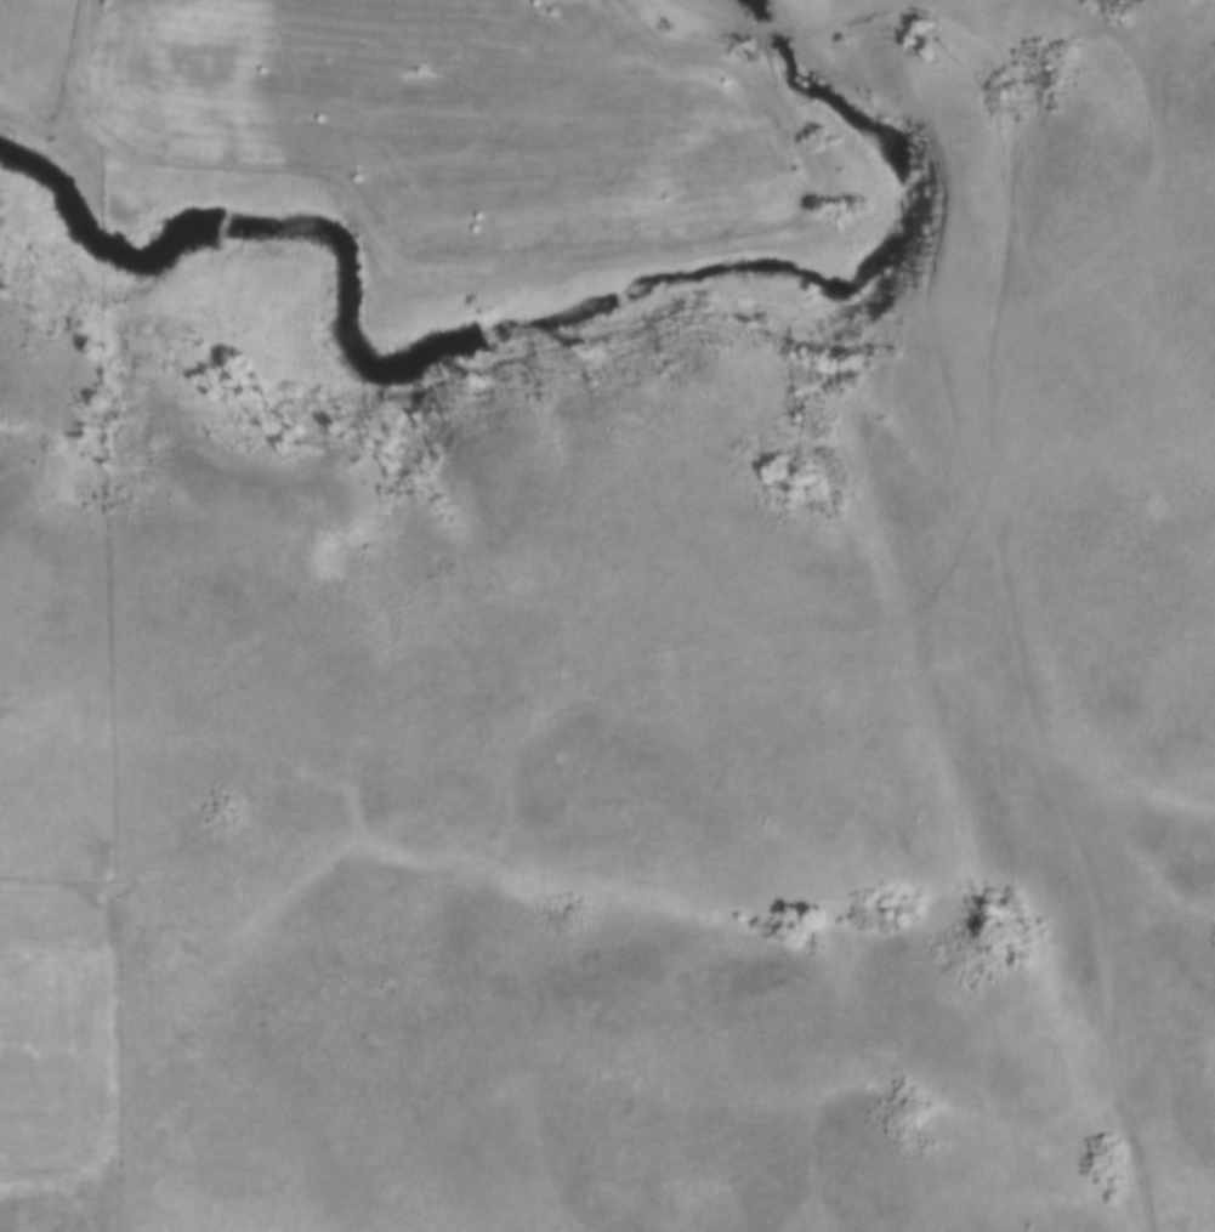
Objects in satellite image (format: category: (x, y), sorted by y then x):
road: (780, 18)
road: (1005, 568)

